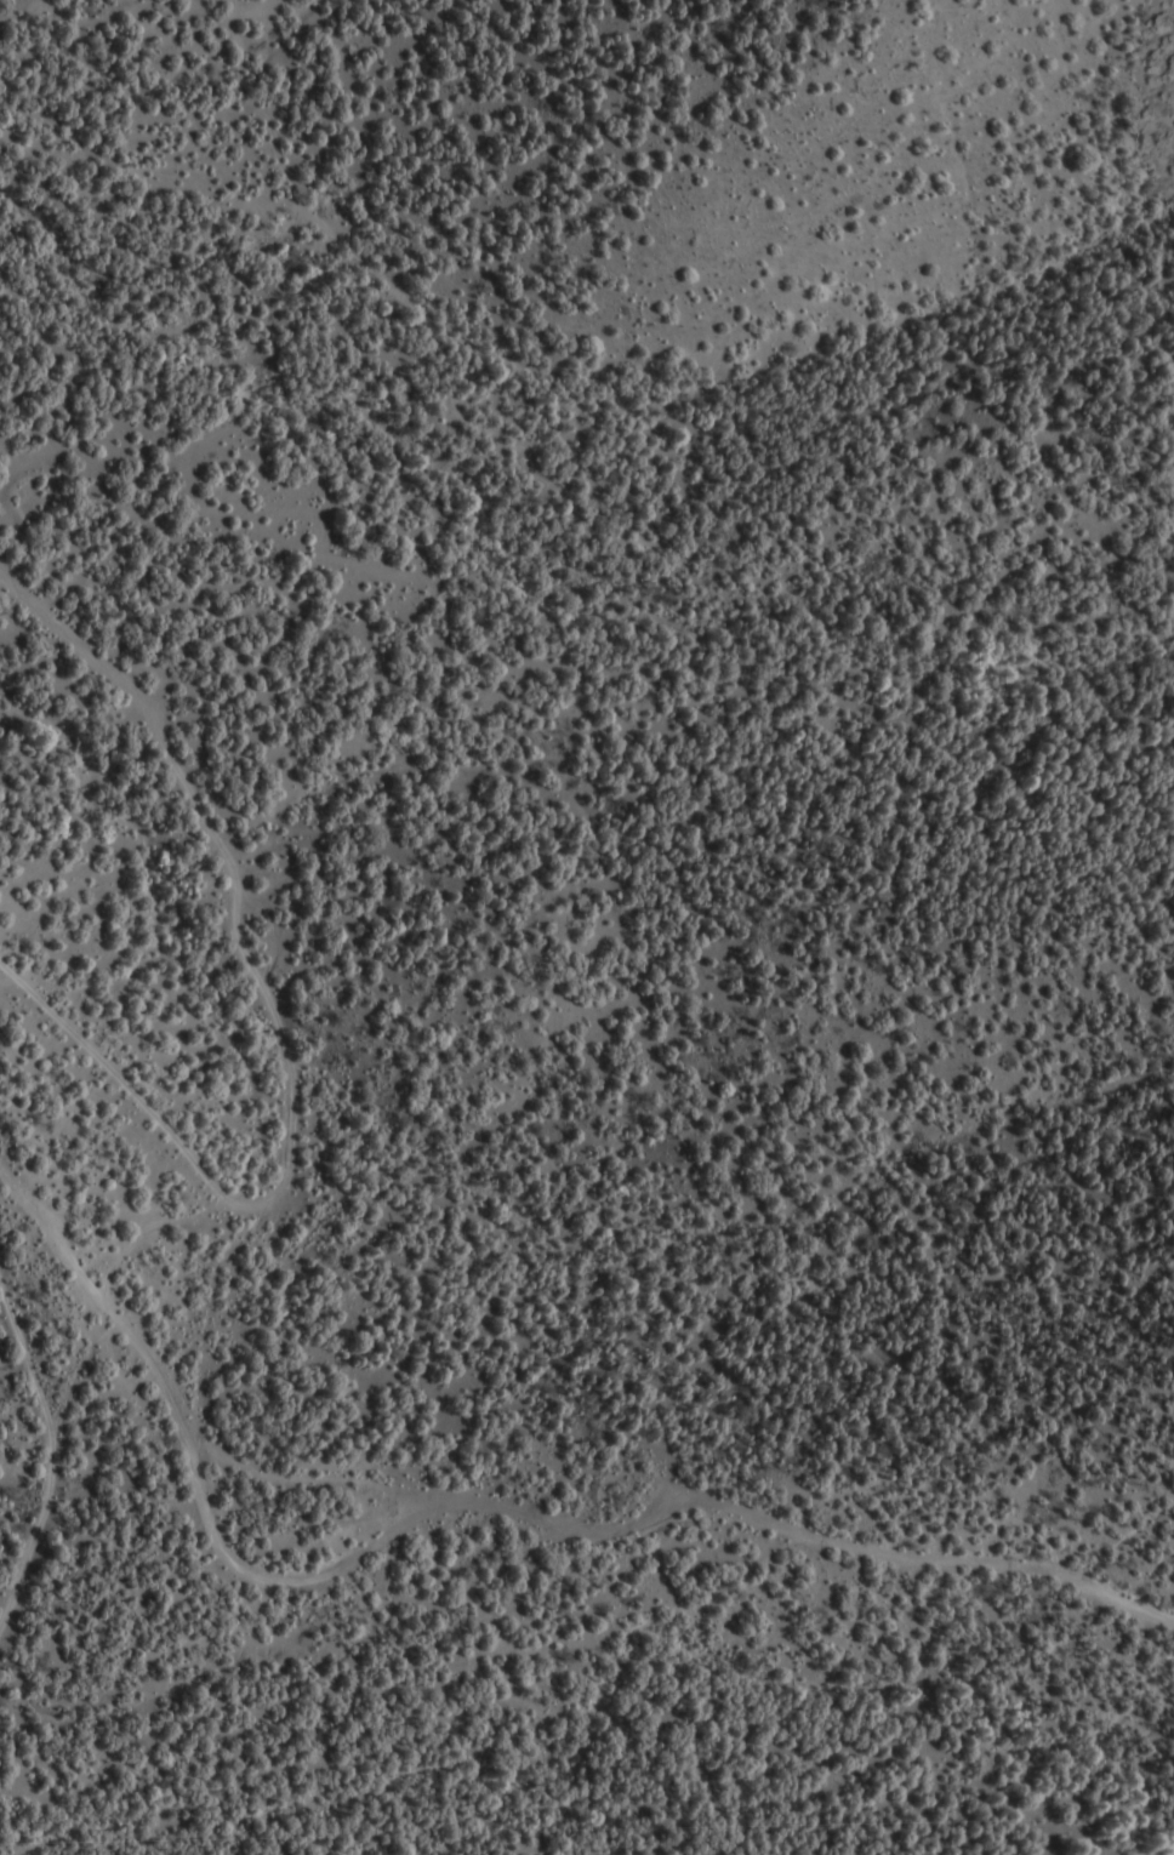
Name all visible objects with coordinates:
road: (283, 1031)
road: (24, 1423)
road: (479, 1506)

